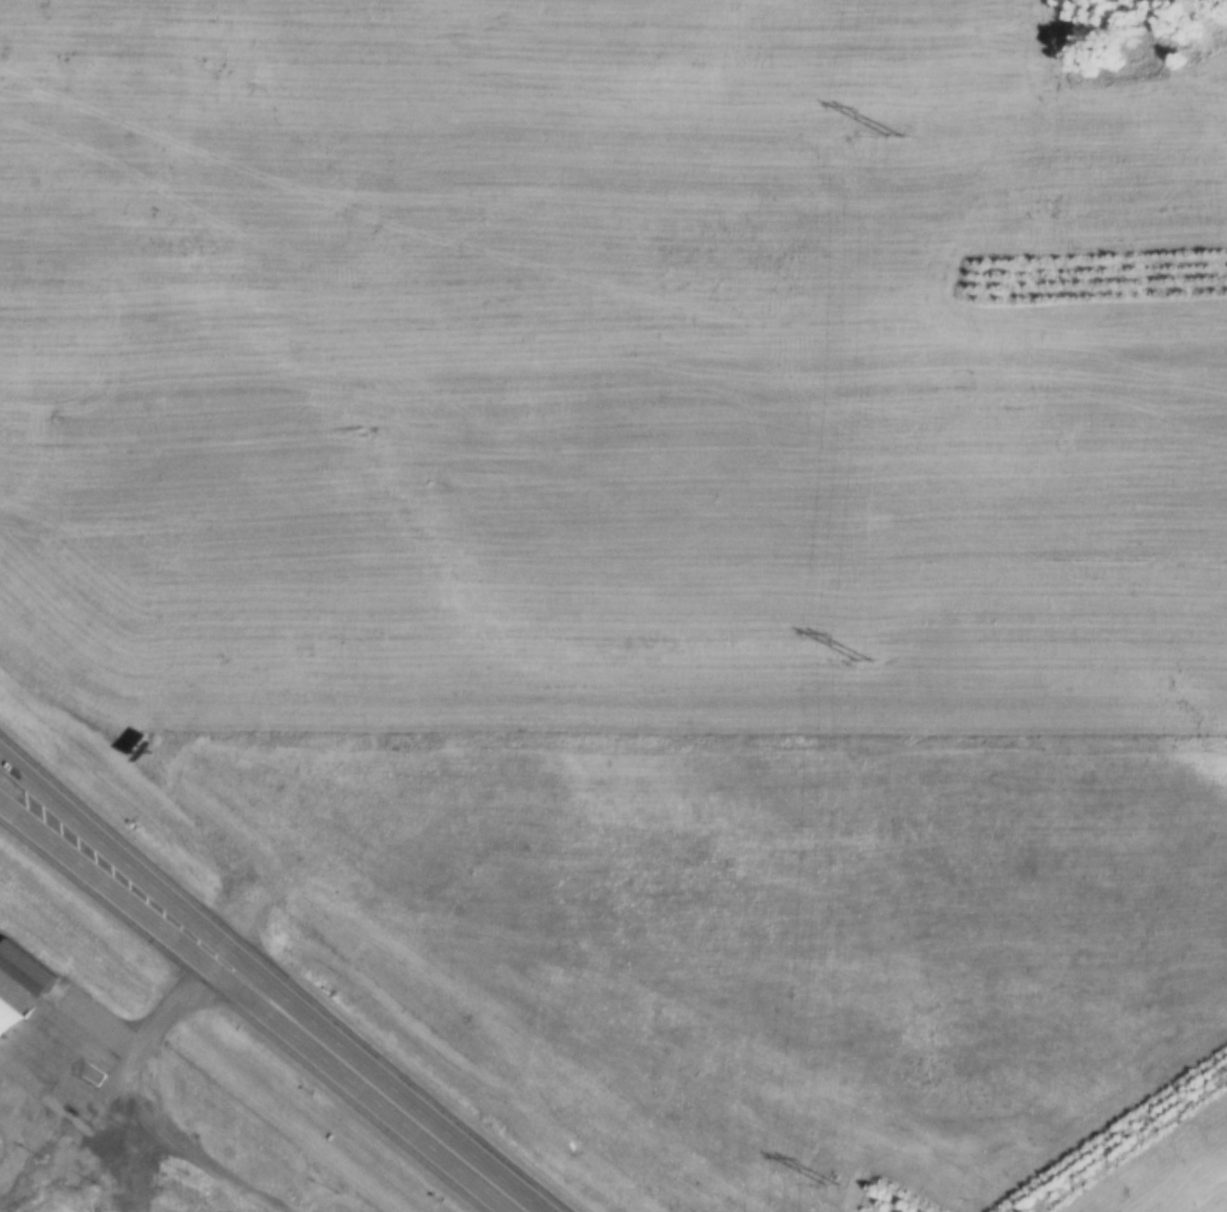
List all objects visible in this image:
power tower: (889, 136)
power tower: (857, 662)
road: (185, 918)
road: (179, 950)
building: (4, 1035)
road: (446, 1148)
power tower: (827, 1184)

